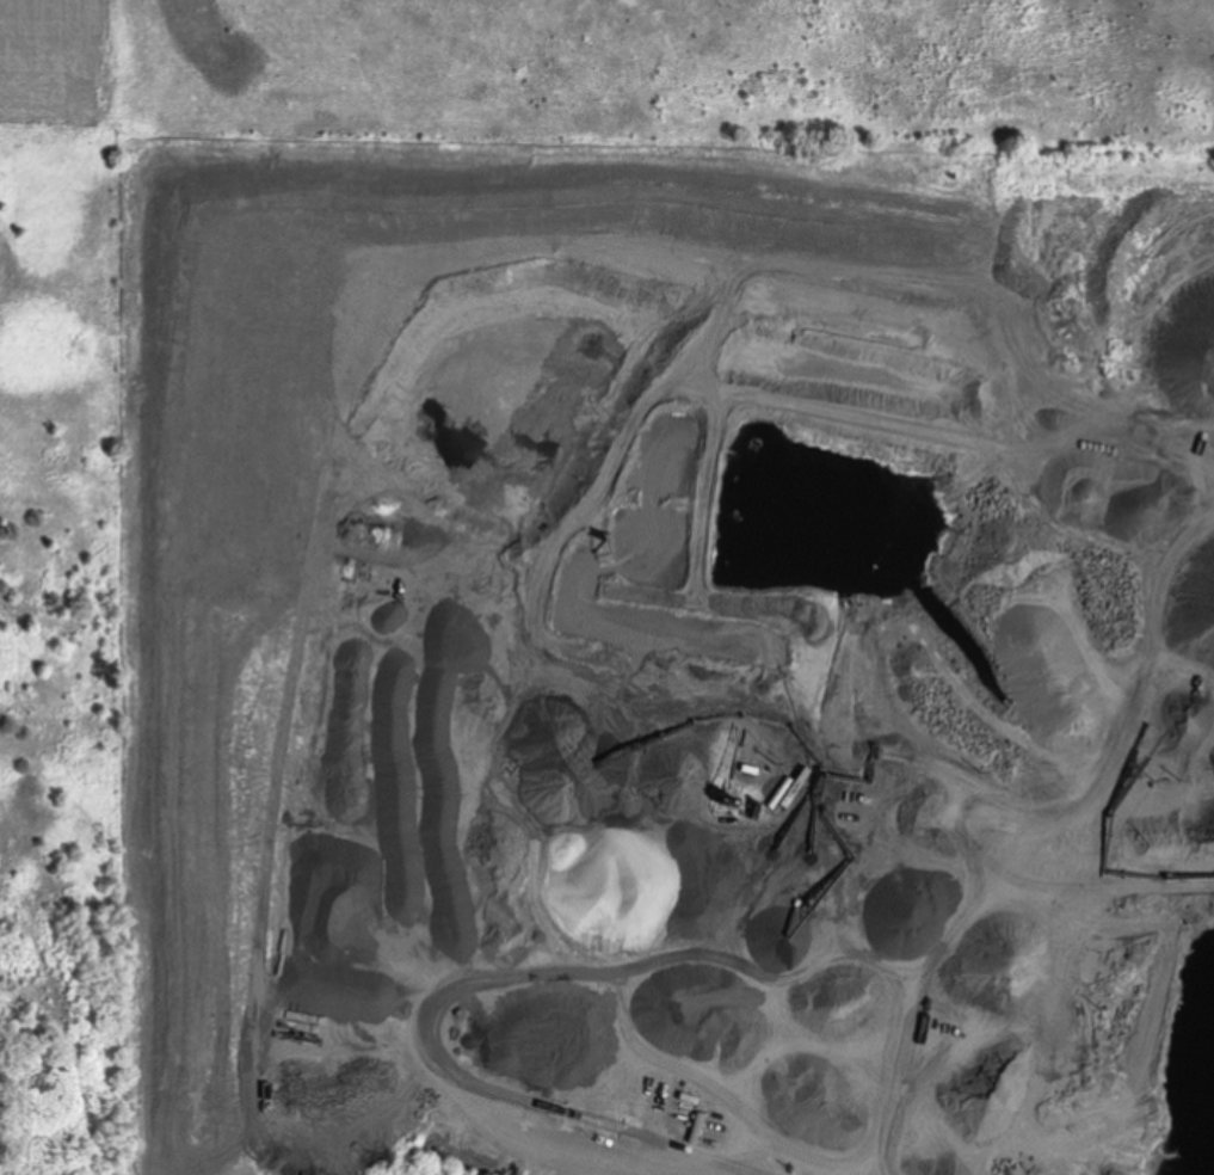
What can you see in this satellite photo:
crop: (66, 67)
quarry: (671, 659)

